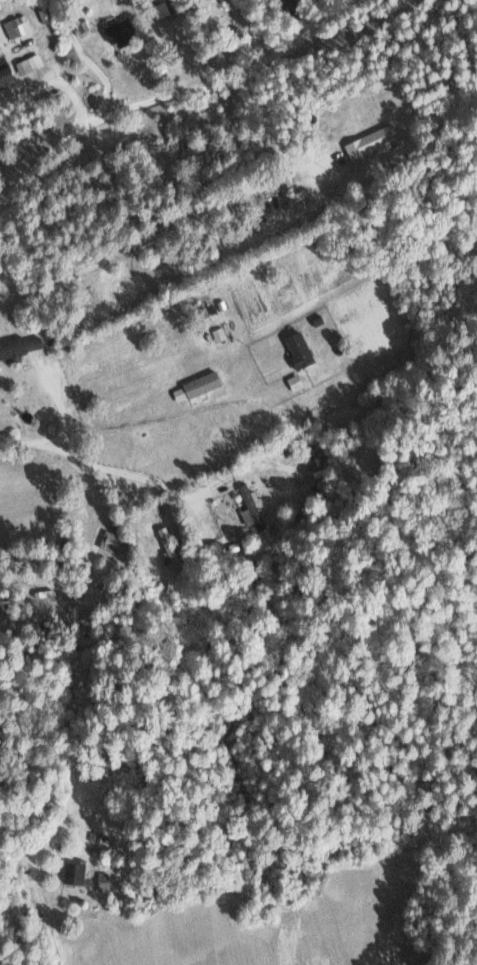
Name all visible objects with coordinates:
building: (16, 26)
building: (119, 32)
building: (28, 63)
building: (4, 76)
road: (166, 88)
building: (367, 144)
building: (33, 342)
building: (12, 347)
building: (297, 348)
building: (294, 381)
building: (195, 386)
road: (115, 422)
building: (250, 507)
building: (110, 541)
building: (168, 546)
building: (101, 880)

